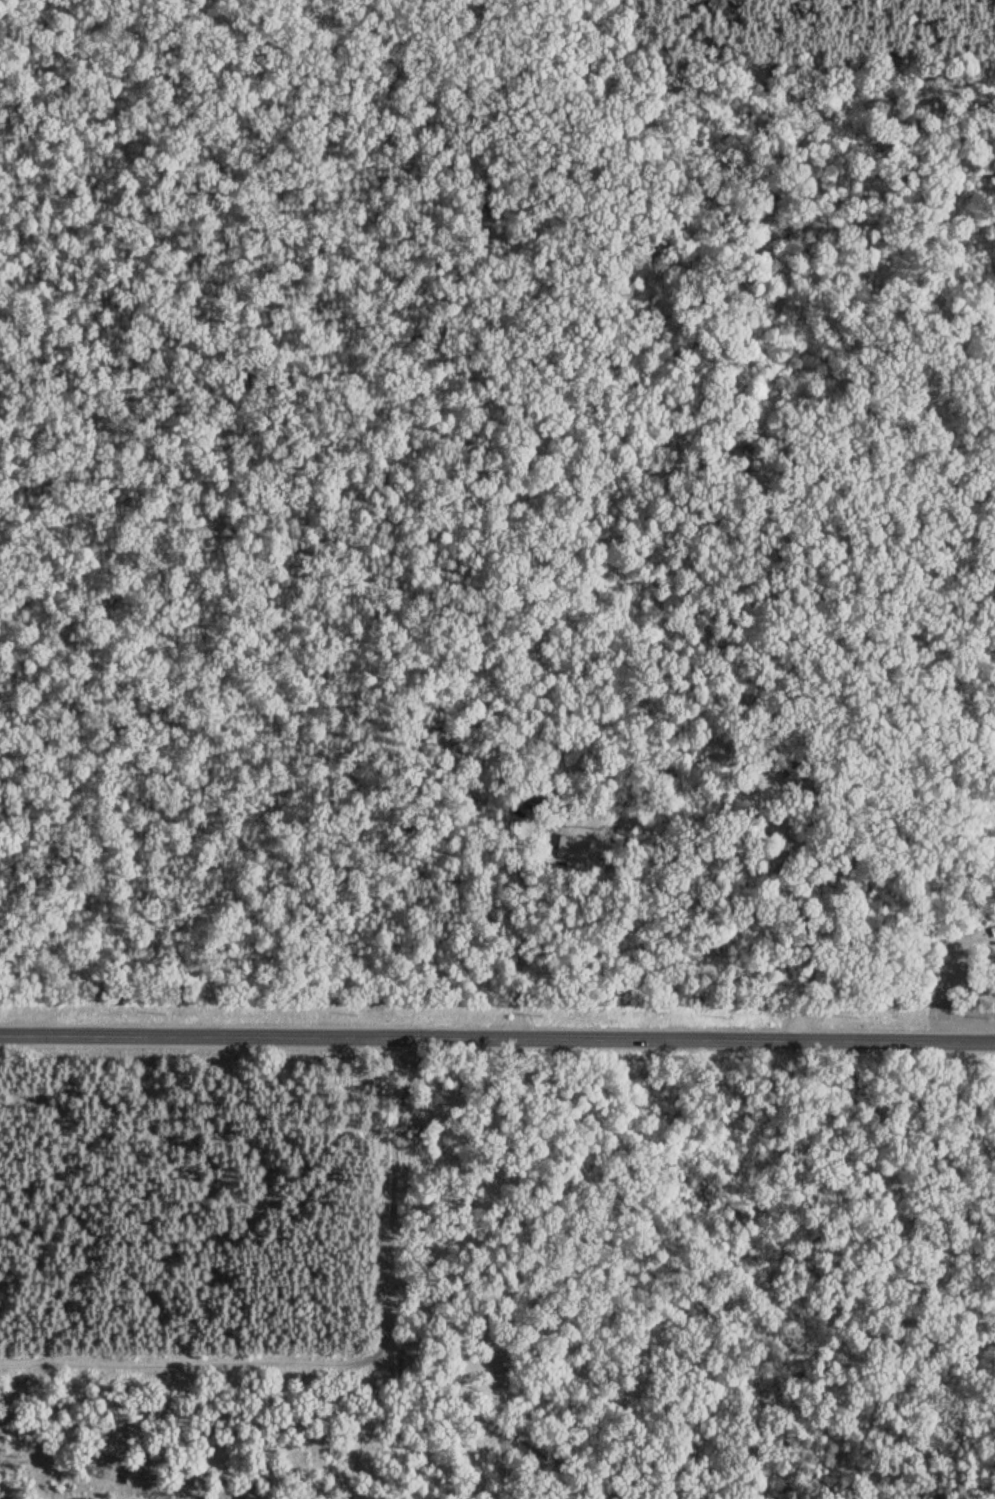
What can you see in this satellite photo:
road: (497, 1036)

